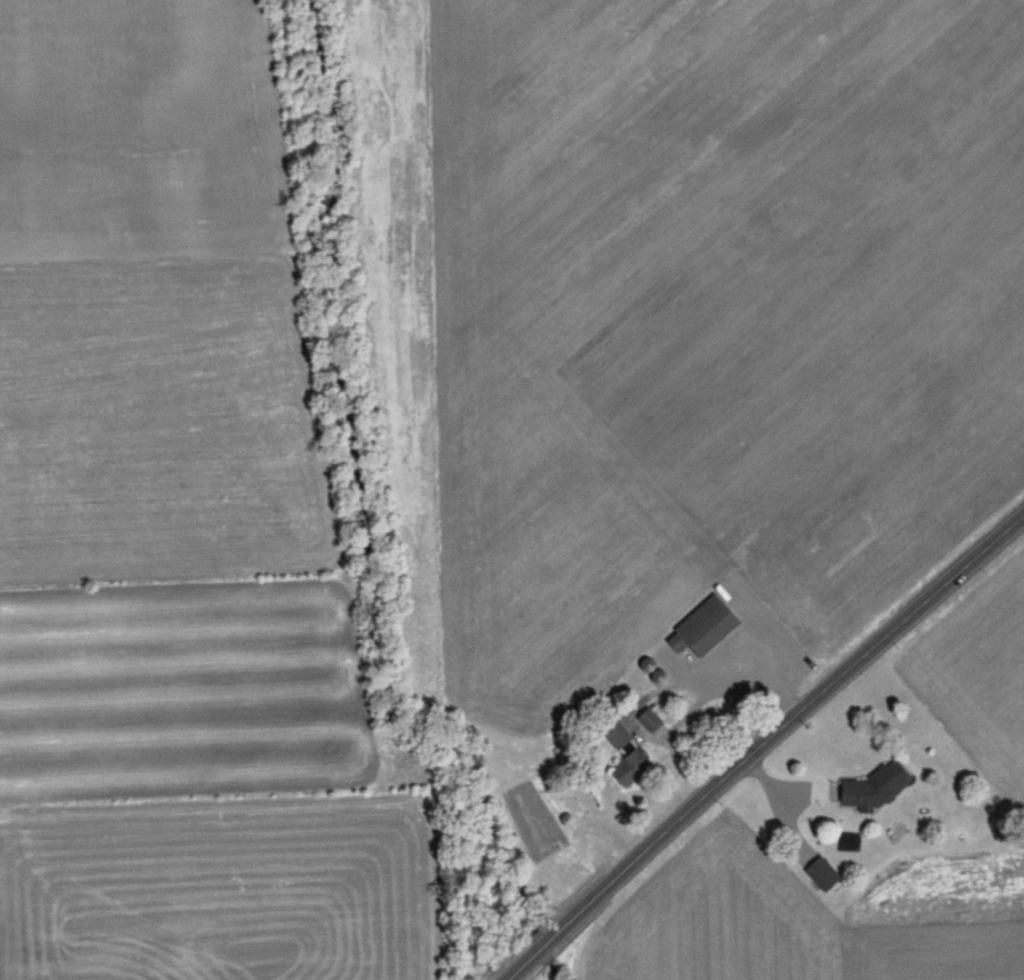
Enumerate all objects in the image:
building: (700, 625)
building: (646, 717)
road: (765, 745)
building: (623, 755)
building: (869, 786)
building: (819, 871)

